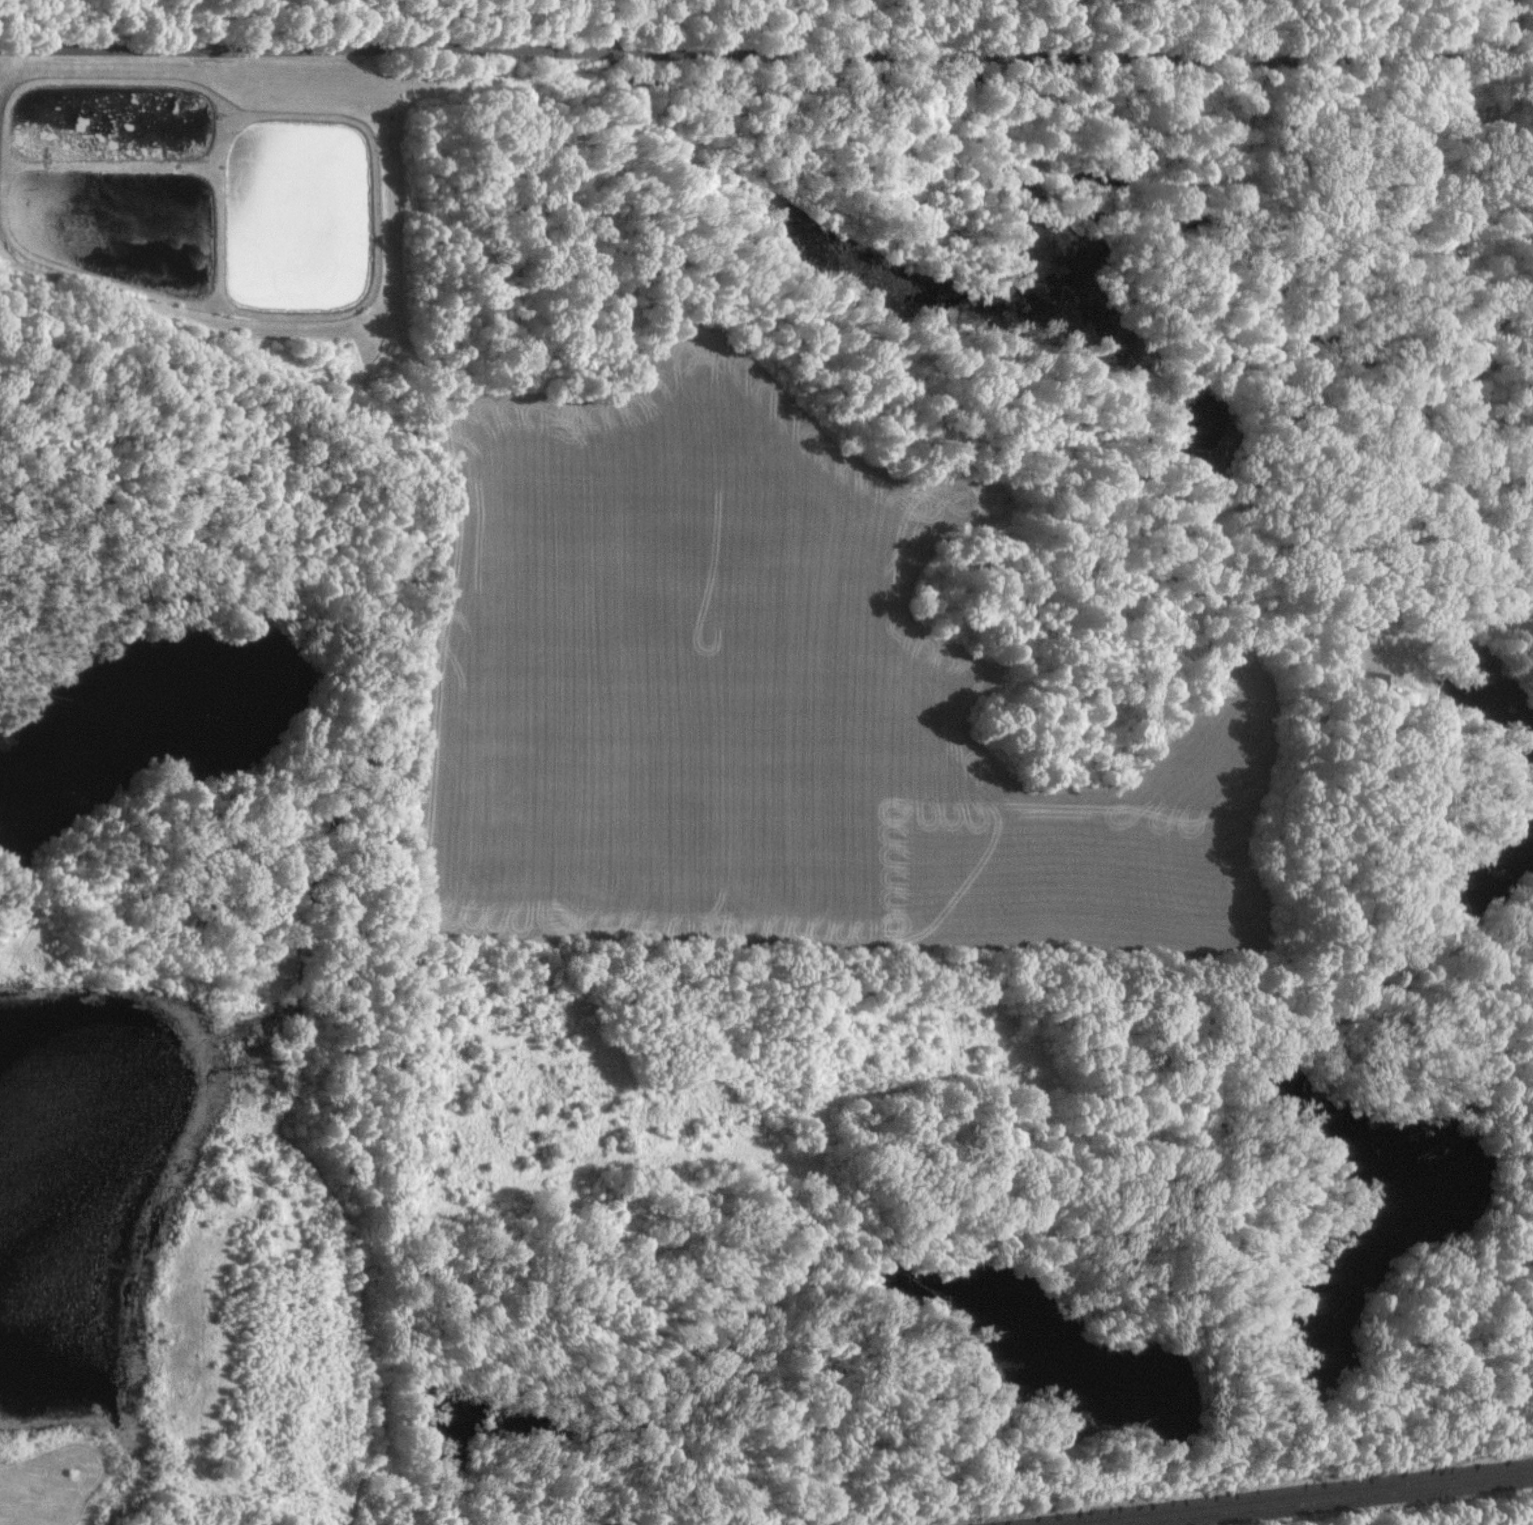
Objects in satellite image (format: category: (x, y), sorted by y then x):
road: (766, 53)
road: (1460, 630)
railway: (1286, 1496)
railway: (1325, 1500)

